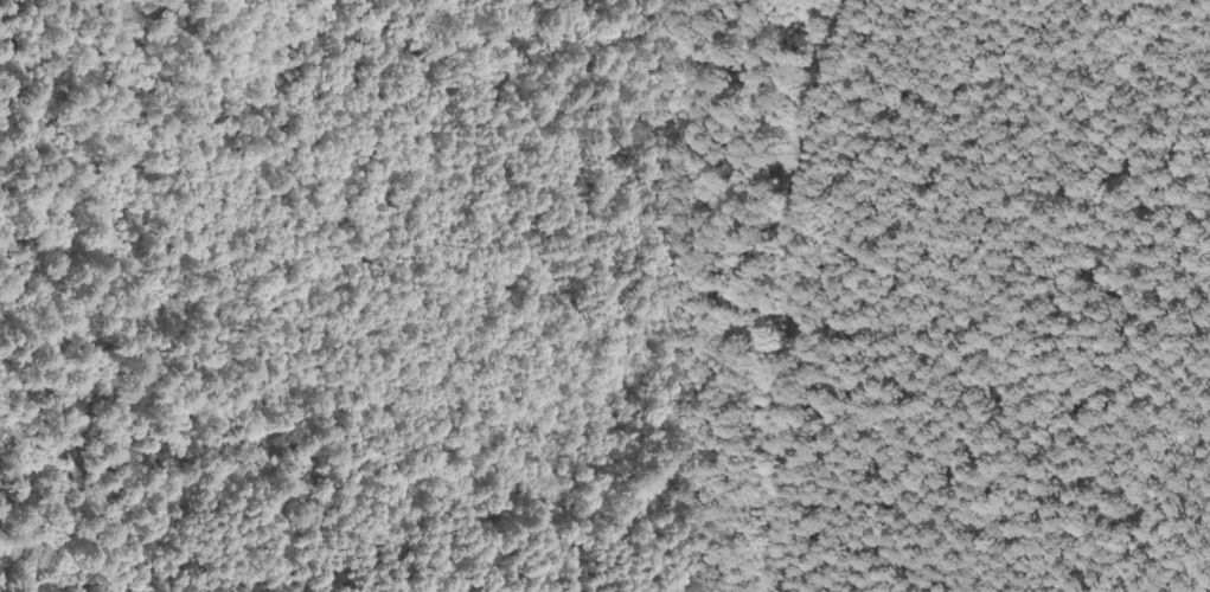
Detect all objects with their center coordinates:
road: (794, 289)

